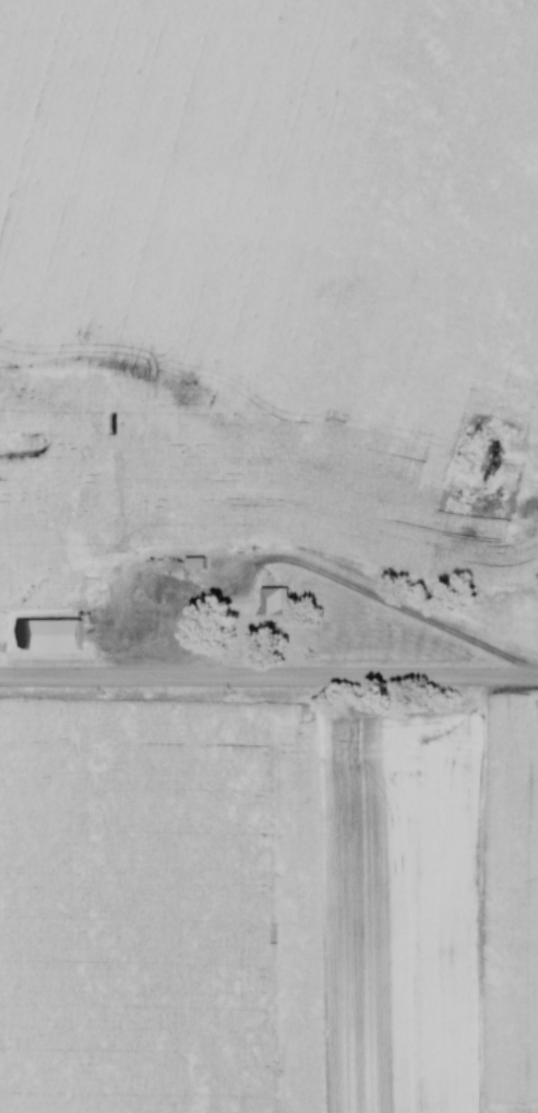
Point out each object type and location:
building: (270, 605)
building: (48, 631)
road: (187, 672)
road: (455, 674)

